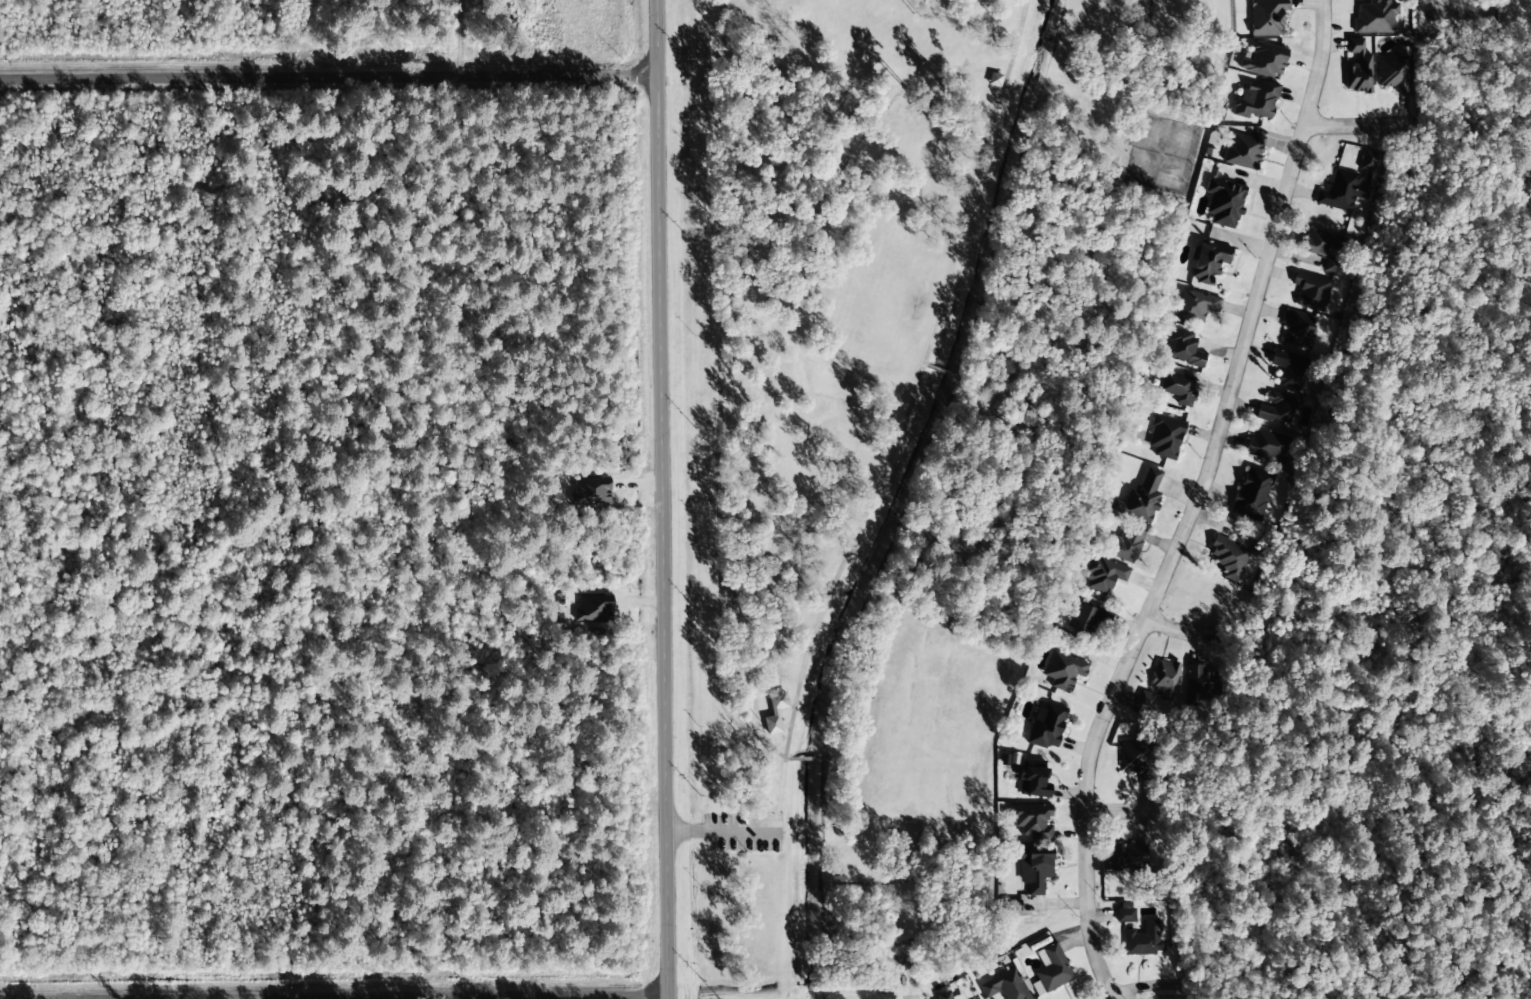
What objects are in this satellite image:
building: (1264, 16)
building: (1375, 16)
building: (1264, 60)
building: (1358, 68)
building: (1392, 72)
road: (329, 78)
building: (992, 79)
building: (1255, 99)
road: (1358, 126)
building: (1242, 151)
building: (1367, 161)
building: (1341, 191)
building: (1222, 202)
building: (1318, 242)
building: (1207, 261)
building: (1331, 266)
building: (1309, 291)
building: (1194, 306)
building: (1297, 329)
building: (1181, 349)
building: (1286, 368)
building: (1177, 386)
building: (1274, 408)
park: (908, 434)
building: (1162, 436)
building: (1267, 445)
building: (590, 492)
building: (1250, 493)
building: (1142, 498)
road: (662, 499)
road: (1194, 502)
building: (1125, 542)
road: (494, 549)
building: (1227, 557)
building: (1103, 575)
building: (594, 608)
building: (1086, 618)
road: (1185, 631)
building: (1062, 670)
building: (1164, 679)
building: (1201, 685)
building: (1145, 701)
building: (773, 712)
building: (1045, 725)
road: (804, 752)
building: (1132, 758)
building: (1032, 779)
road: (1121, 811)
building: (1030, 820)
building: (1126, 858)
building: (1033, 868)
building: (1124, 912)
building: (1143, 939)
building: (1051, 968)
building: (1003, 986)
building: (946, 995)
road: (499, 997)
road: (1135, 997)
road: (471, 998)
road: (912, 998)

